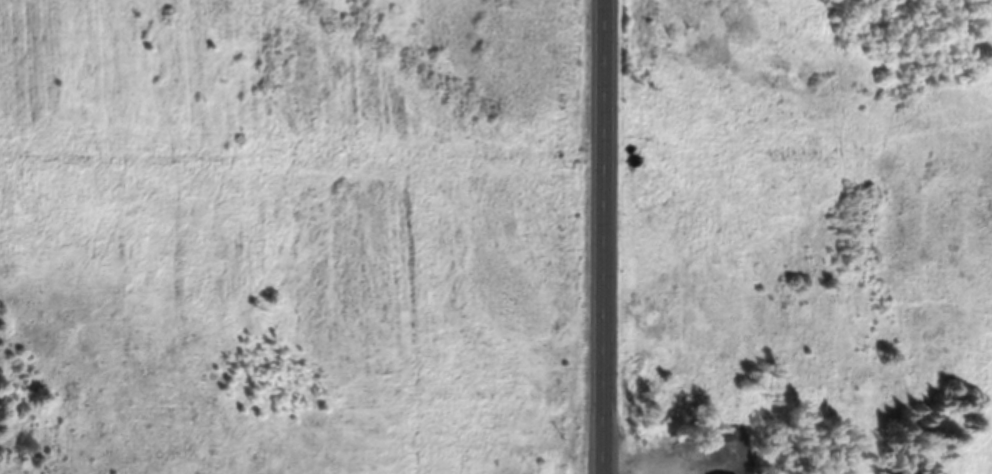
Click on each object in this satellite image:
road: (602, 237)

